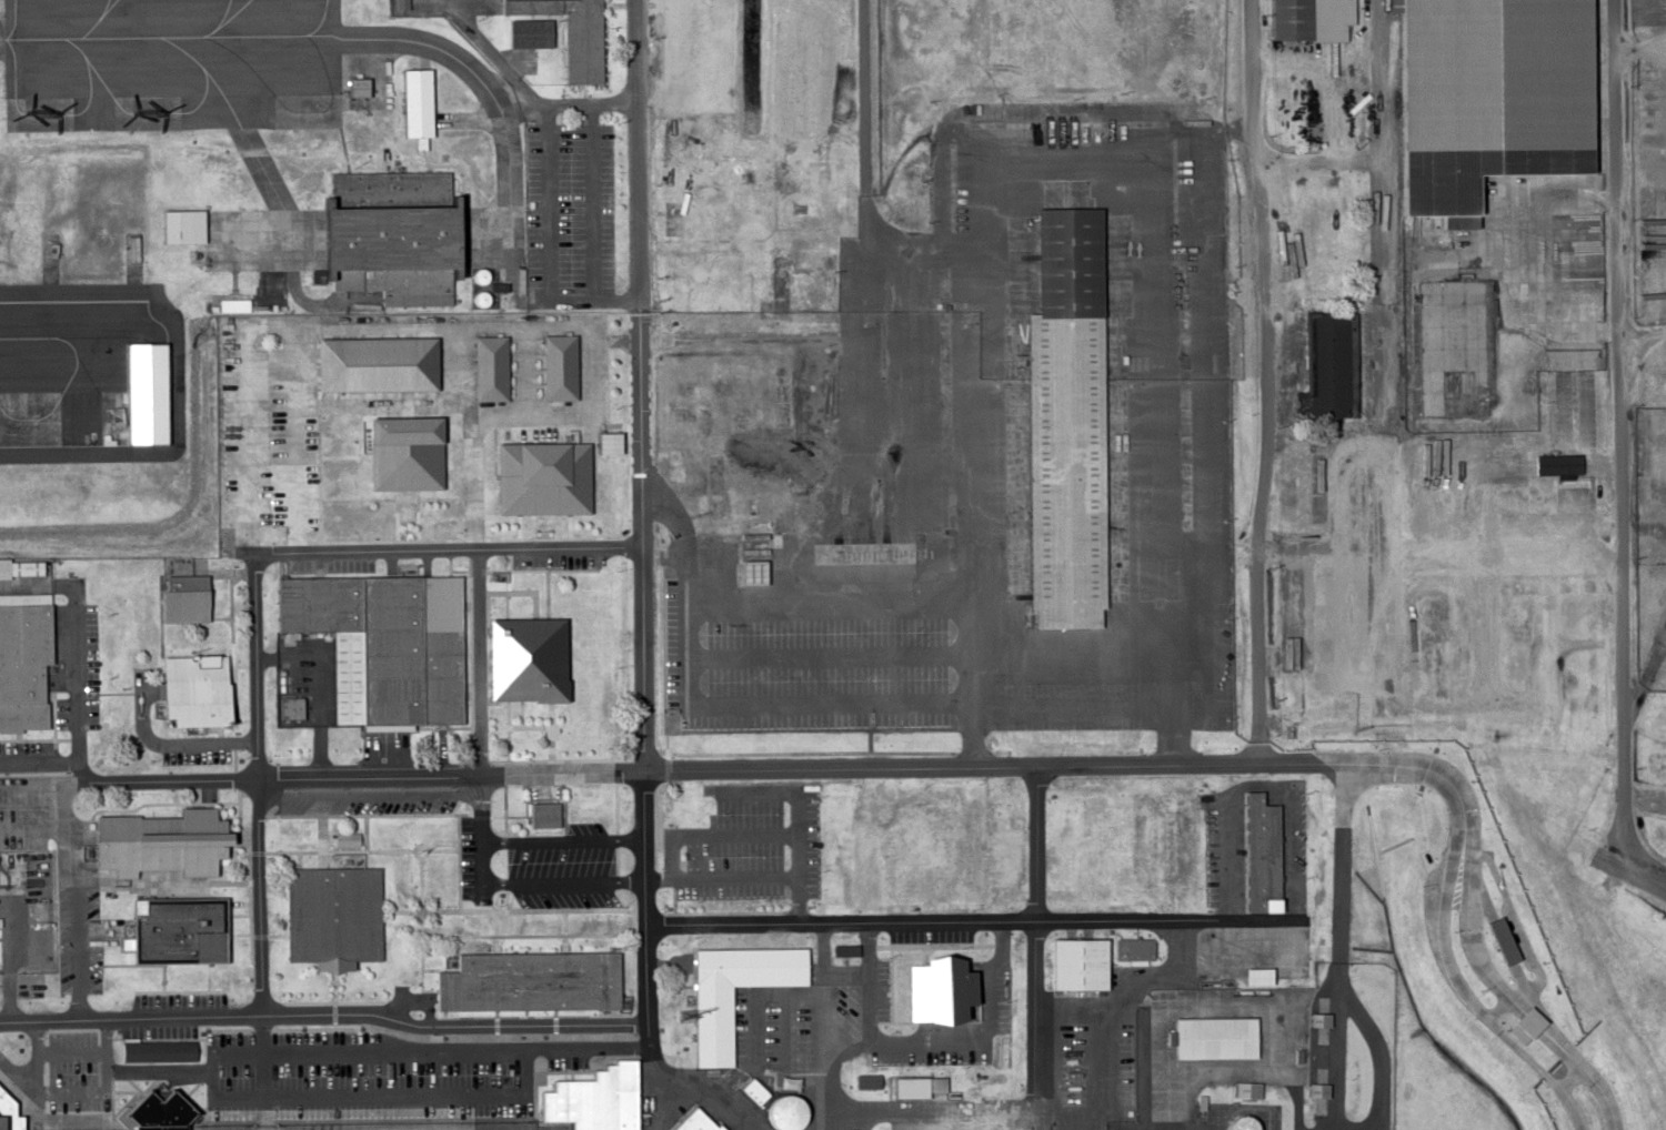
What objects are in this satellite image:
building: (1306, 19)
building: (530, 32)
building: (569, 33)
building: (1484, 98)
building: (412, 104)
road: (864, 157)
road: (1386, 199)
building: (178, 226)
building: (385, 235)
road: (638, 352)
building: (371, 362)
building: (1328, 364)
building: (555, 367)
building: (485, 369)
road: (1268, 379)
building: (131, 402)
building: (1060, 422)
road: (1619, 431)
building: (399, 452)
building: (538, 476)
building: (751, 547)
road: (445, 548)
building: (19, 567)
building: (180, 598)
road: (83, 633)
building: (378, 642)
building: (534, 658)
building: (22, 659)
road: (489, 660)
building: (187, 688)
airport: (589, 695)
building: (288, 707)
road: (643, 736)
road: (1040, 763)
road: (43, 765)
road: (94, 773)
road: (373, 774)
road: (258, 783)
building: (541, 814)
building: (152, 841)
building: (1062, 844)
building: (1106, 844)
building: (1256, 852)
road: (1647, 869)
road: (1647, 878)
road: (658, 907)
building: (329, 915)
road: (1085, 921)
road: (505, 922)
building: (161, 928)
road: (1489, 959)
building: (1075, 963)
road: (1463, 963)
building: (525, 980)
building: (935, 988)
road: (330, 1011)
building: (1015, 1013)
building: (709, 1026)
building: (1211, 1037)
building: (801, 1047)
building: (157, 1050)
building: (866, 1081)
building: (906, 1087)
building: (1244, 1089)
road: (704, 1093)
building: (589, 1100)
building: (151, 1110)
building: (782, 1112)
building: (1235, 1122)

